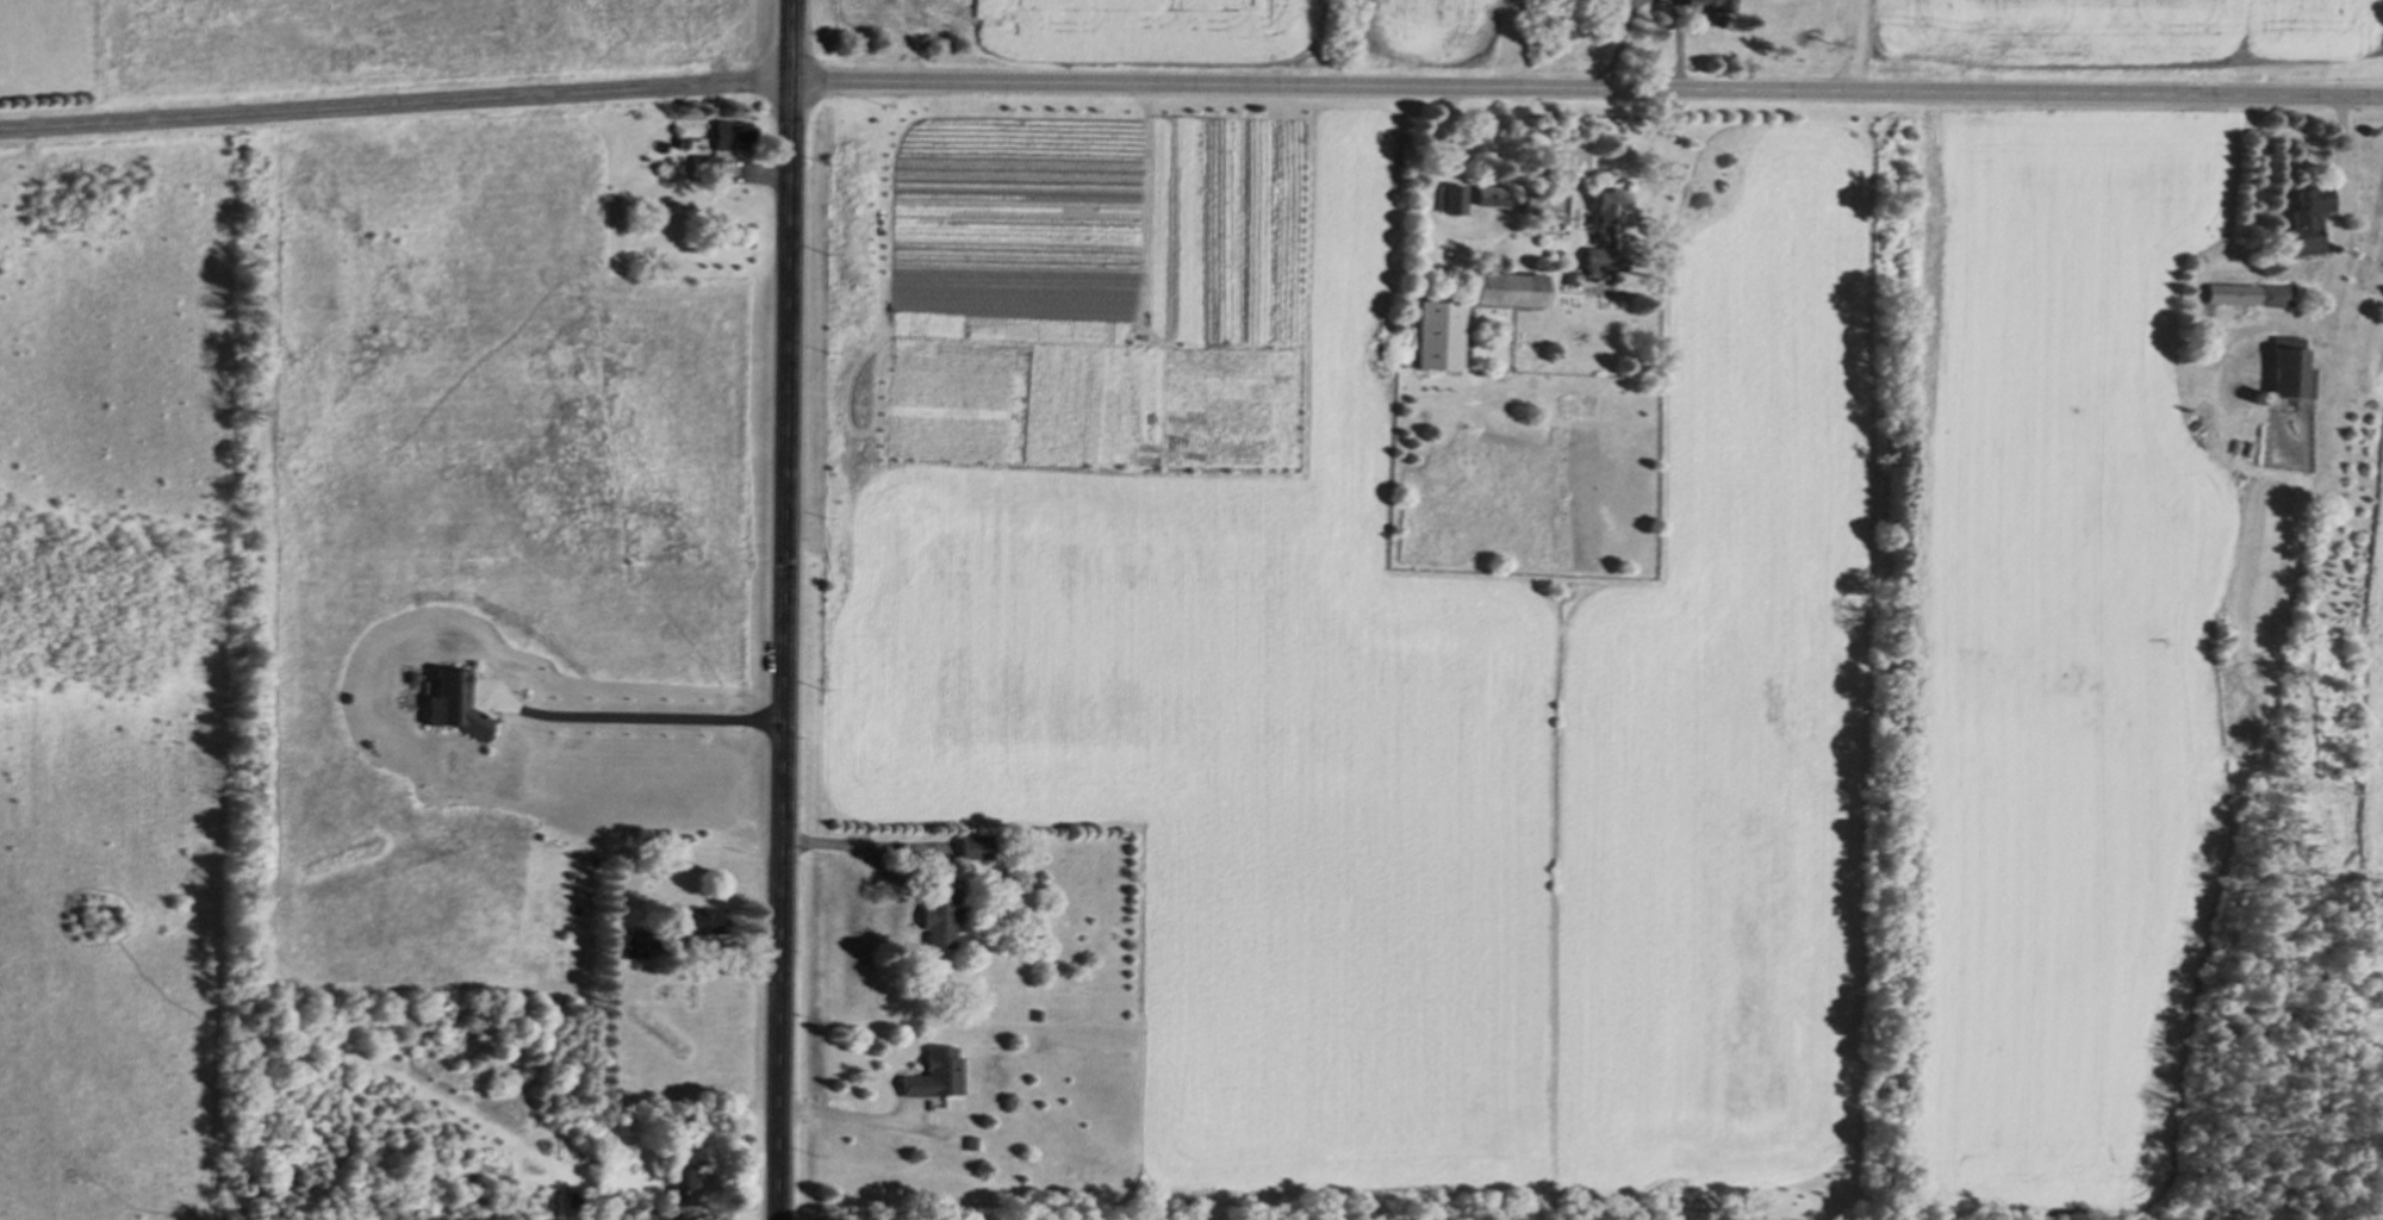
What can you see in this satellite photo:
building: (1712, 6)
crop: (1248, 29)
crop: (2128, 38)
road: (1190, 83)
building: (735, 137)
building: (1494, 200)
building: (1457, 204)
building: (1537, 211)
road: (2337, 211)
building: (2312, 223)
building: (1604, 249)
building: (1514, 294)
building: (2250, 298)
building: (1441, 338)
building: (2295, 378)
road: (785, 610)
crop: (1560, 651)
crop: (2370, 691)
road: (647, 715)
building: (977, 851)
building: (941, 920)
building: (699, 923)
building: (633, 948)
building: (937, 1077)
road: (850, 1113)
building: (683, 1184)

